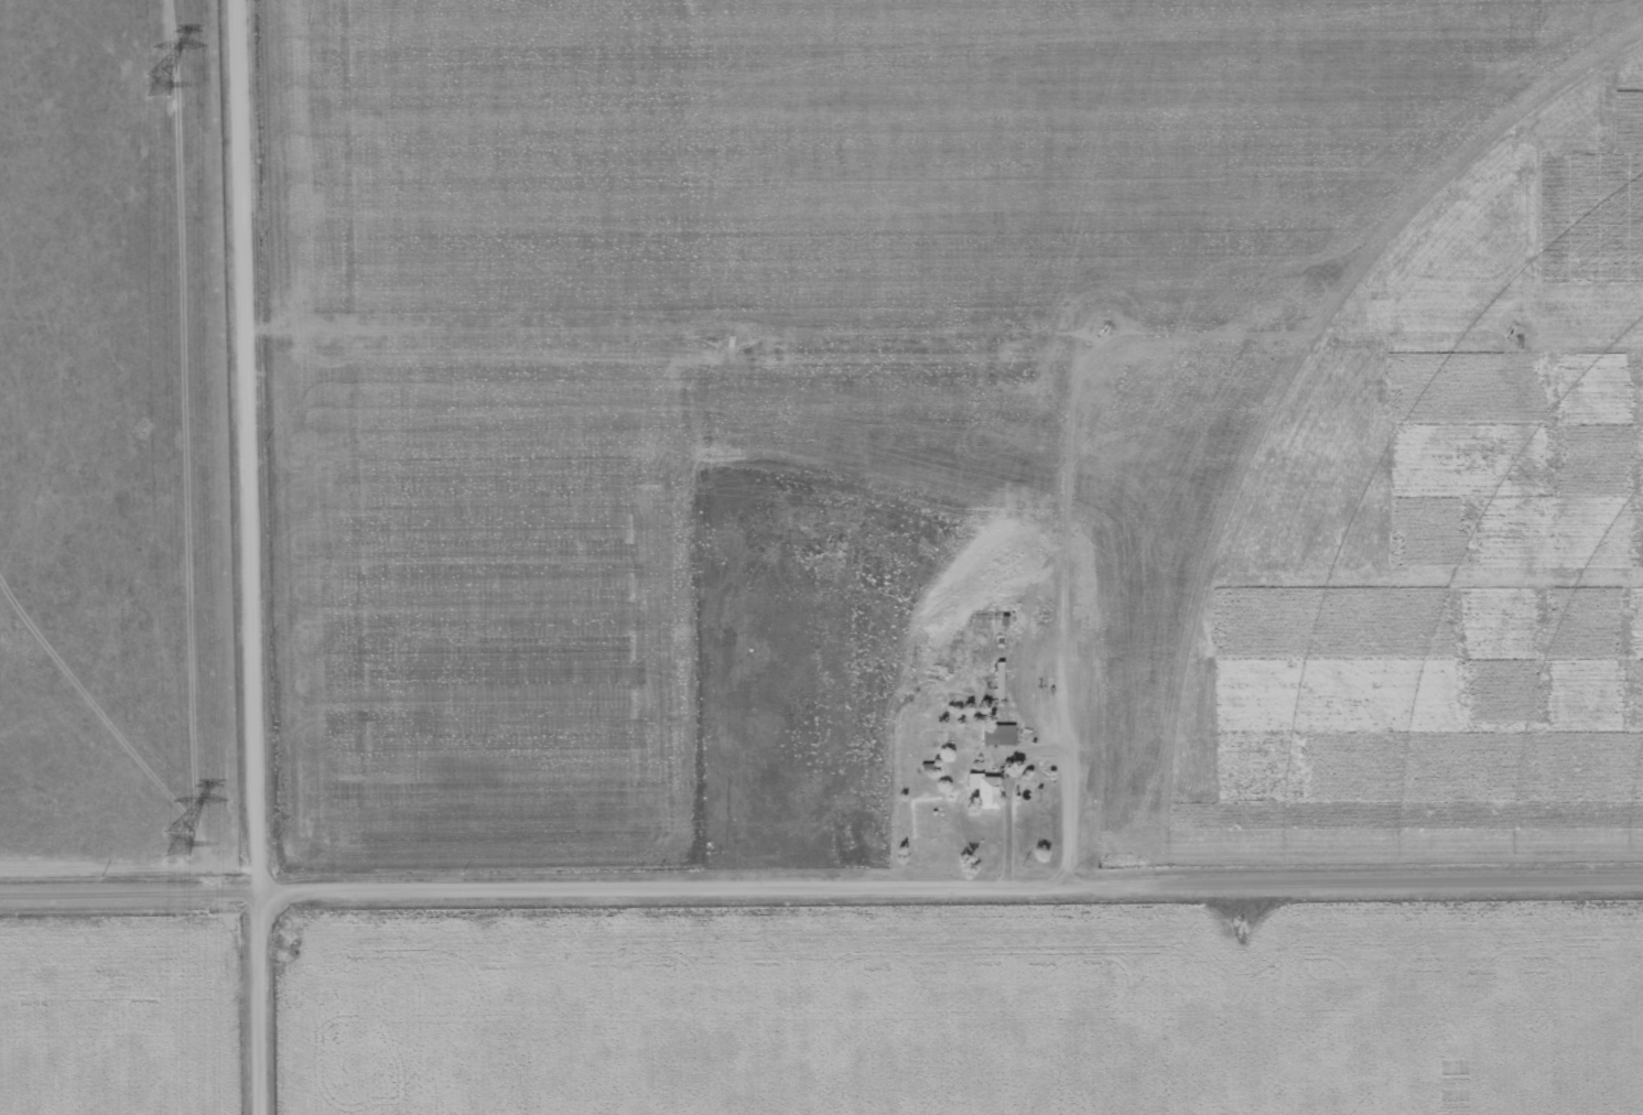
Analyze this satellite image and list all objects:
power tower: (156, 85)
road: (898, 329)
road: (255, 556)
road: (1093, 608)
building: (981, 789)
power tower: (174, 845)
road: (821, 885)

